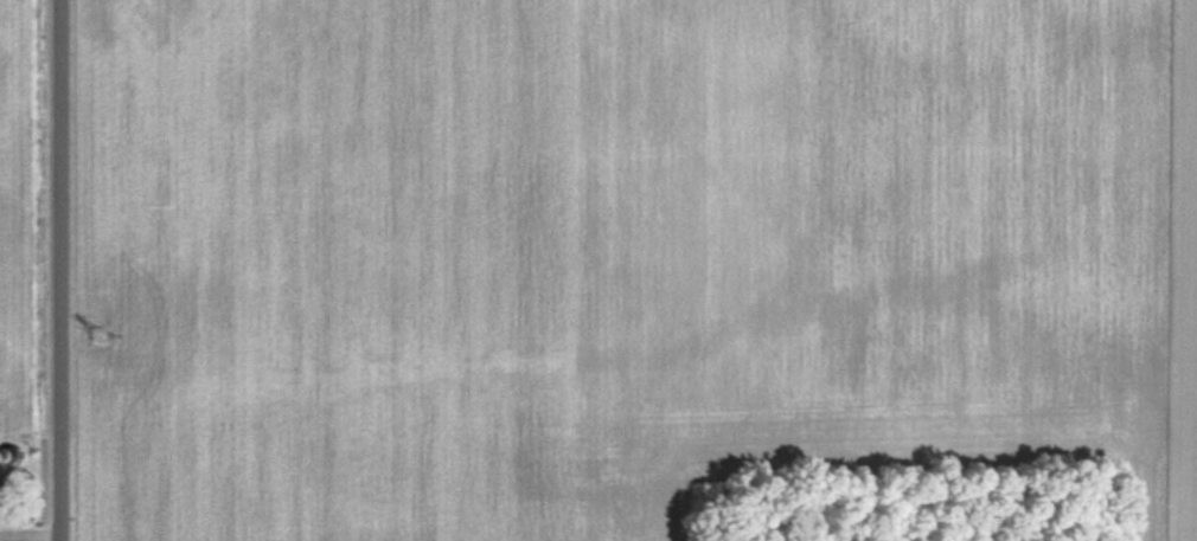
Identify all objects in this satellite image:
road: (64, 270)
power tower: (103, 336)

